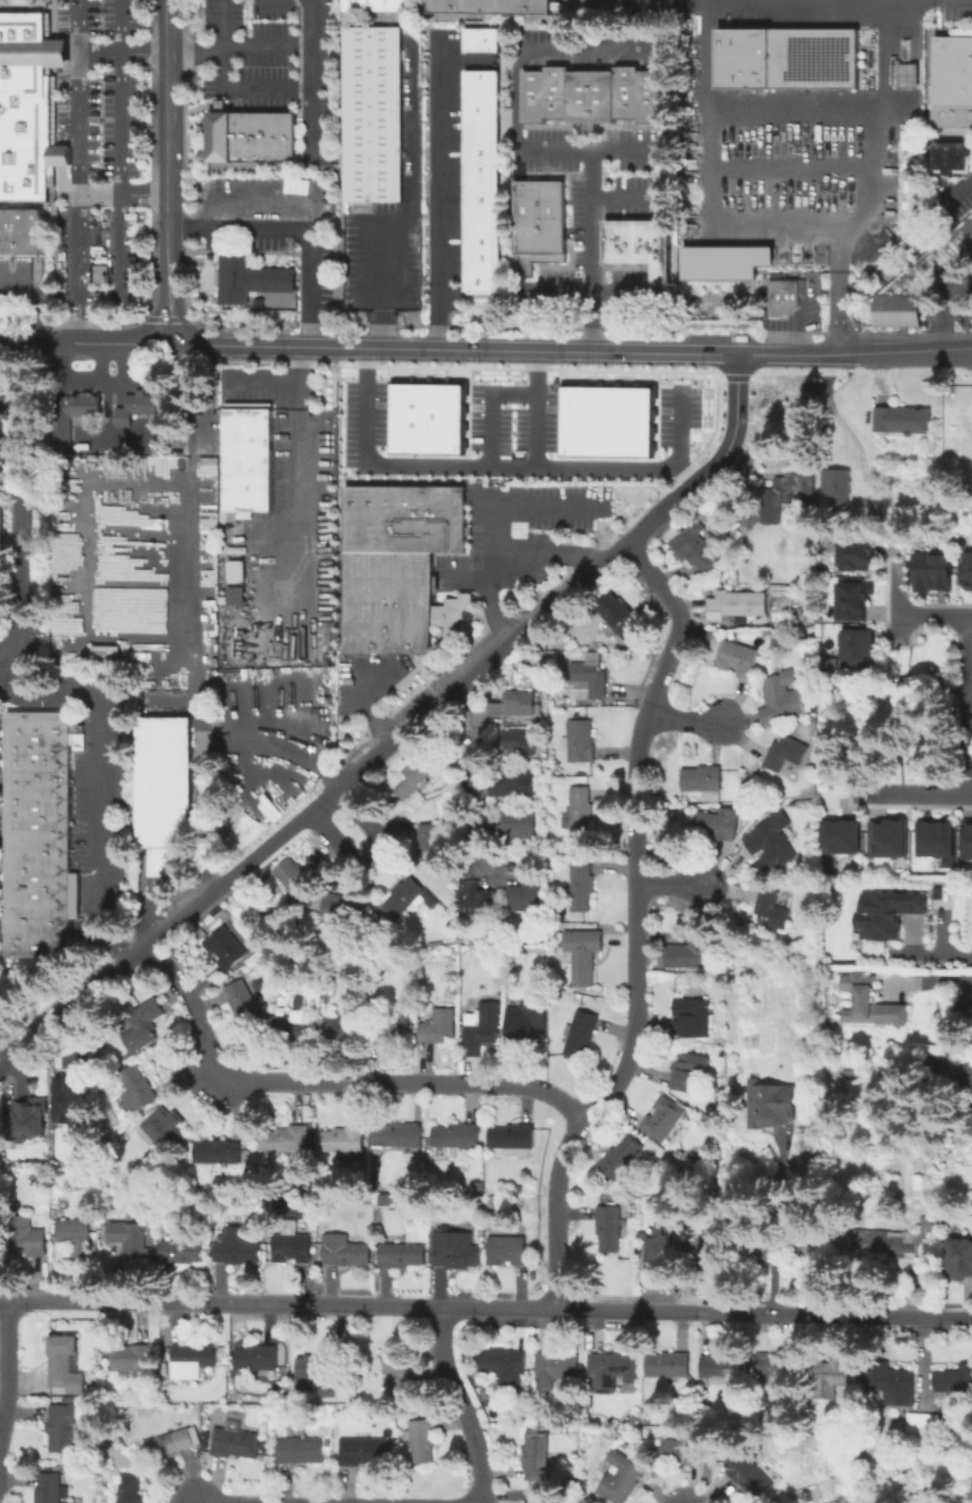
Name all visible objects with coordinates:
road: (275, 0)
building: (21, 2)
road: (712, 3)
road: (843, 4)
building: (379, 5)
building: (490, 6)
road: (169, 26)
building: (480, 40)
road: (312, 42)
road: (240, 46)
road: (123, 53)
building: (952, 58)
road: (884, 59)
building: (789, 60)
road: (463, 61)
building: (908, 69)
building: (480, 81)
road: (515, 85)
road: (223, 87)
building: (590, 95)
building: (26, 104)
building: (480, 104)
building: (951, 104)
building: (371, 114)
road: (311, 123)
building: (480, 126)
building: (250, 135)
parking lot: (96, 147)
building: (480, 148)
road: (708, 153)
building: (951, 158)
road: (789, 166)
road: (120, 169)
road: (77, 171)
building: (480, 171)
road: (960, 187)
road: (256, 192)
building: (480, 192)
road: (439, 193)
road: (123, 194)
road: (626, 196)
road: (170, 199)
road: (412, 199)
building: (480, 215)
building: (537, 223)
road: (300, 225)
building: (966, 230)
building: (20, 232)
building: (480, 238)
building: (959, 243)
building: (637, 245)
building: (950, 251)
building: (936, 256)
building: (479, 260)
building: (729, 262)
building: (927, 271)
building: (248, 278)
building: (479, 282)
building: (914, 282)
road: (589, 293)
road: (34, 298)
building: (785, 299)
building: (903, 302)
building: (882, 310)
road: (944, 310)
road: (958, 310)
road: (800, 324)
road: (25, 341)
road: (110, 344)
road: (454, 349)
road: (910, 351)
road: (794, 353)
road: (99, 361)
road: (122, 362)
road: (22, 376)
road: (91, 378)
road: (277, 384)
building: (135, 407)
road: (492, 408)
road: (109, 410)
building: (73, 418)
building: (427, 419)
building: (899, 419)
building: (608, 422)
road: (682, 427)
road: (162, 431)
road: (735, 431)
building: (965, 448)
building: (247, 460)
building: (0, 463)
road: (448, 465)
road: (618, 469)
road: (286, 471)
building: (834, 487)
building: (786, 495)
building: (873, 506)
road: (18, 517)
building: (403, 519)
road: (489, 531)
building: (698, 550)
building: (855, 553)
building: (0, 556)
road: (544, 556)
building: (966, 569)
building: (933, 570)
building: (235, 571)
building: (234, 595)
building: (851, 599)
building: (393, 603)
building: (743, 603)
road: (898, 604)
road: (934, 615)
building: (619, 618)
building: (856, 648)
building: (104, 653)
building: (737, 658)
road: (18, 659)
building: (589, 679)
building: (779, 698)
road: (362, 701)
building: (516, 706)
road: (968, 706)
road: (681, 719)
building: (520, 743)
building: (580, 746)
building: (785, 755)
road: (469, 769)
building: (415, 778)
road: (103, 782)
building: (704, 782)
road: (345, 783)
building: (516, 786)
building: (166, 792)
road: (909, 795)
road: (970, 795)
building: (580, 813)
building: (719, 824)
building: (520, 826)
building: (494, 830)
building: (42, 835)
building: (841, 837)
building: (886, 838)
building: (966, 839)
building: (936, 841)
building: (772, 843)
building: (430, 844)
road: (369, 851)
building: (292, 877)
road: (198, 880)
road: (674, 885)
building: (583, 886)
building: (938, 894)
building: (528, 897)
building: (408, 899)
building: (475, 899)
building: (334, 910)
building: (771, 912)
building: (887, 915)
road: (147, 919)
road: (636, 923)
road: (945, 932)
road: (913, 937)
building: (228, 949)
building: (692, 951)
building: (583, 955)
road: (932, 956)
road: (929, 978)
building: (872, 1004)
building: (245, 1005)
building: (963, 1005)
building: (693, 1019)
building: (393, 1024)
building: (344, 1026)
building: (145, 1027)
building: (437, 1028)
building: (482, 1028)
building: (528, 1029)
building: (294, 1030)
building: (583, 1037)
building: (971, 1037)
road: (5, 1053)
building: (967, 1070)
building: (690, 1073)
road: (325, 1085)
building: (138, 1091)
building: (769, 1105)
building: (69, 1106)
building: (28, 1117)
building: (664, 1120)
building: (965, 1124)
building: (165, 1133)
building: (399, 1137)
building: (458, 1138)
building: (341, 1140)
building: (513, 1141)
building: (284, 1142)
building: (219, 1154)
building: (623, 1159)
building: (605, 1227)
road: (776, 1234)
building: (27, 1237)
building: (76, 1237)
building: (130, 1240)
building: (903, 1241)
building: (238, 1249)
building: (455, 1249)
building: (507, 1250)
building: (184, 1251)
building: (291, 1251)
building: (346, 1253)
building: (656, 1254)
building: (709, 1255)
building: (402, 1256)
building: (773, 1258)
building: (958, 1260)
road: (486, 1307)
building: (258, 1359)
building: (131, 1361)
building: (194, 1362)
building: (64, 1363)
building: (670, 1365)
building: (506, 1367)
building: (722, 1367)
building: (775, 1367)
road: (5, 1368)
building: (397, 1370)
building: (613, 1371)
building: (558, 1372)
building: (308, 1376)
building: (833, 1377)
building: (952, 1381)
building: (892, 1384)
building: (329, 1390)
road: (459, 1405)
building: (920, 1422)
building: (62, 1431)
building: (421, 1443)
building: (176, 1445)
building: (239, 1445)
building: (685, 1451)
building: (303, 1452)
building: (362, 1452)
building: (537, 1457)
building: (620, 1478)
building: (749, 1478)
building: (50, 1490)
building: (132, 1493)
building: (542, 1501)

